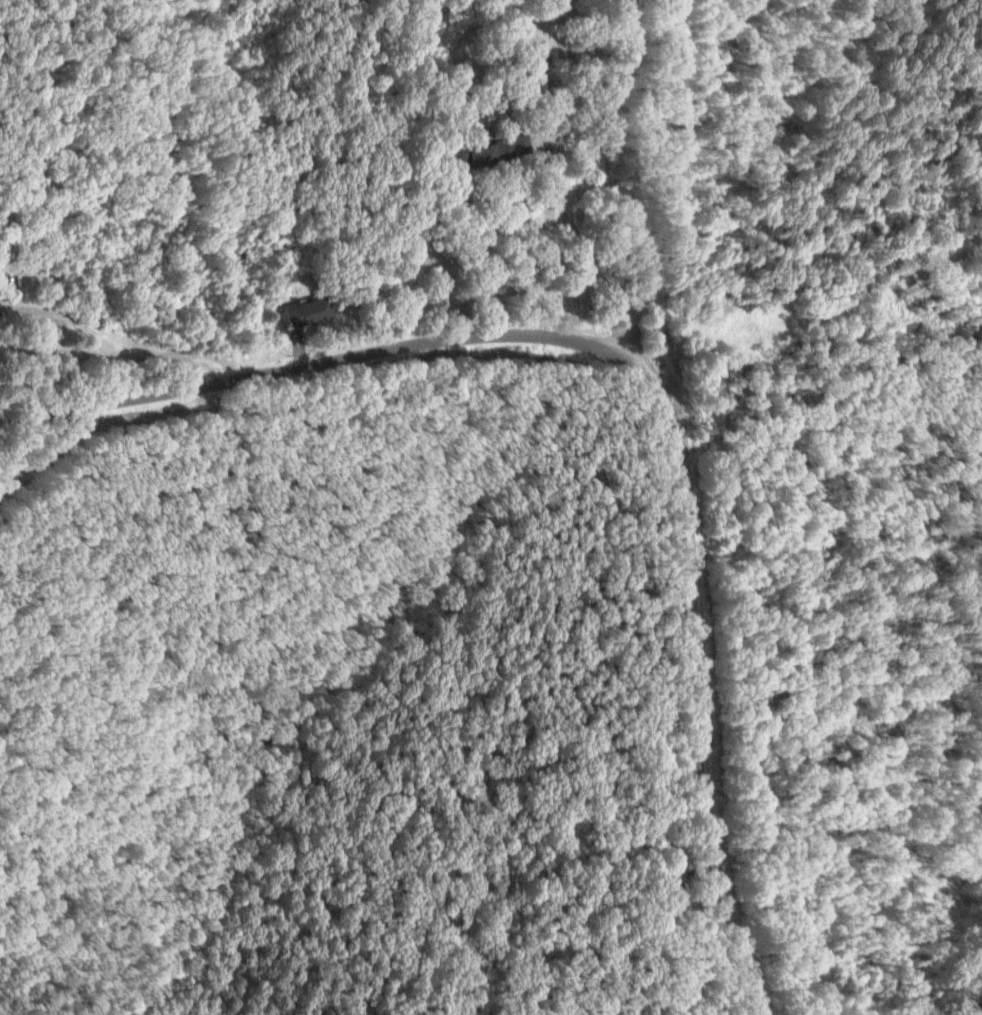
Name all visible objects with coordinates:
building: (490, 150)
road: (578, 265)
building: (300, 312)
road: (98, 353)
road: (174, 360)
road: (635, 376)
road: (701, 923)

